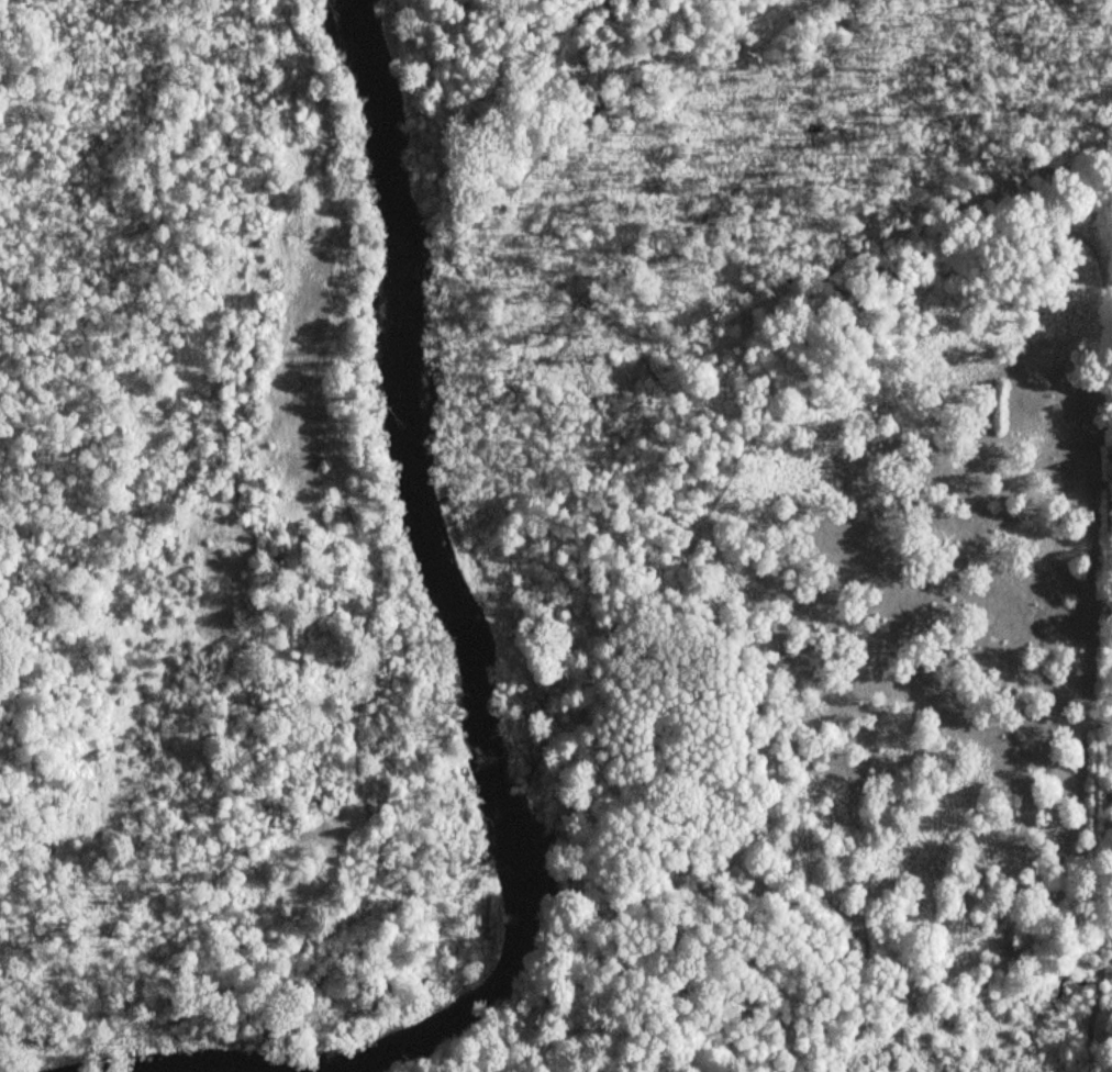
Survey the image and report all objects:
river: (441, 577)

